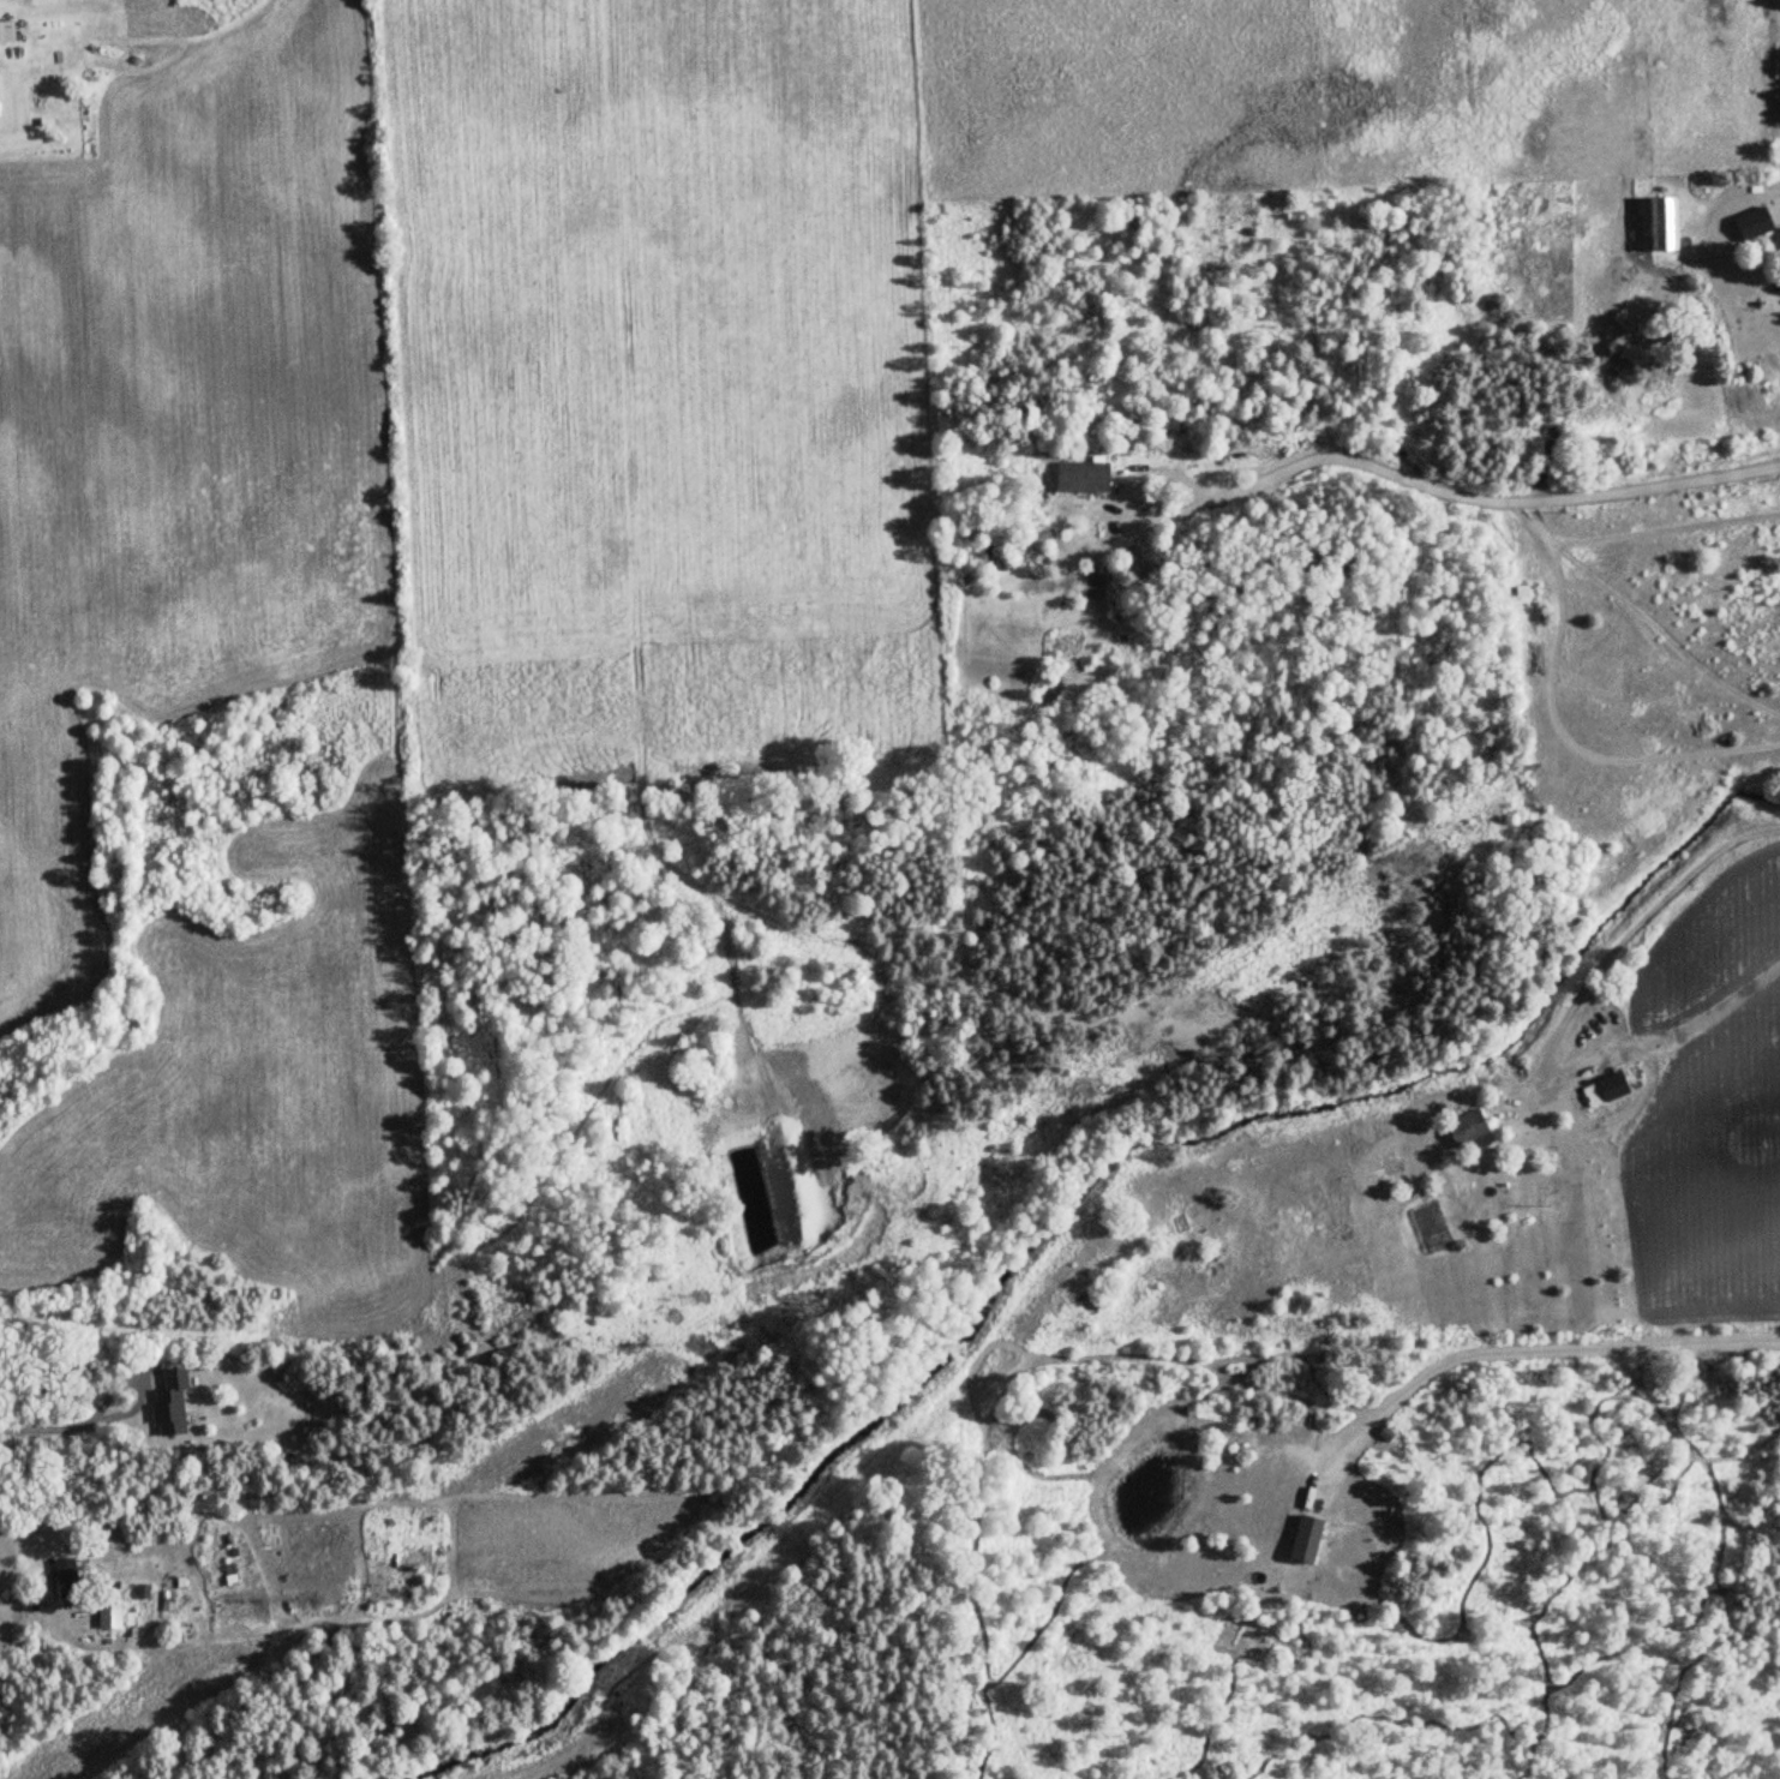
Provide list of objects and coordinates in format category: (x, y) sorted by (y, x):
building: (1755, 223)
building: (1656, 224)
building: (1084, 478)
road: (1487, 491)
road: (1119, 495)
power tower: (1439, 853)
road: (1556, 1028)
building: (1616, 1086)
power tower: (1086, 1089)
building: (1469, 1128)
building: (1217, 1252)
power tower: (705, 1342)
road: (1551, 1346)
building: (173, 1403)
road: (70, 1425)
building: (68, 1579)
power tower: (319, 1598)
road: (17, 1615)
building: (114, 1616)

